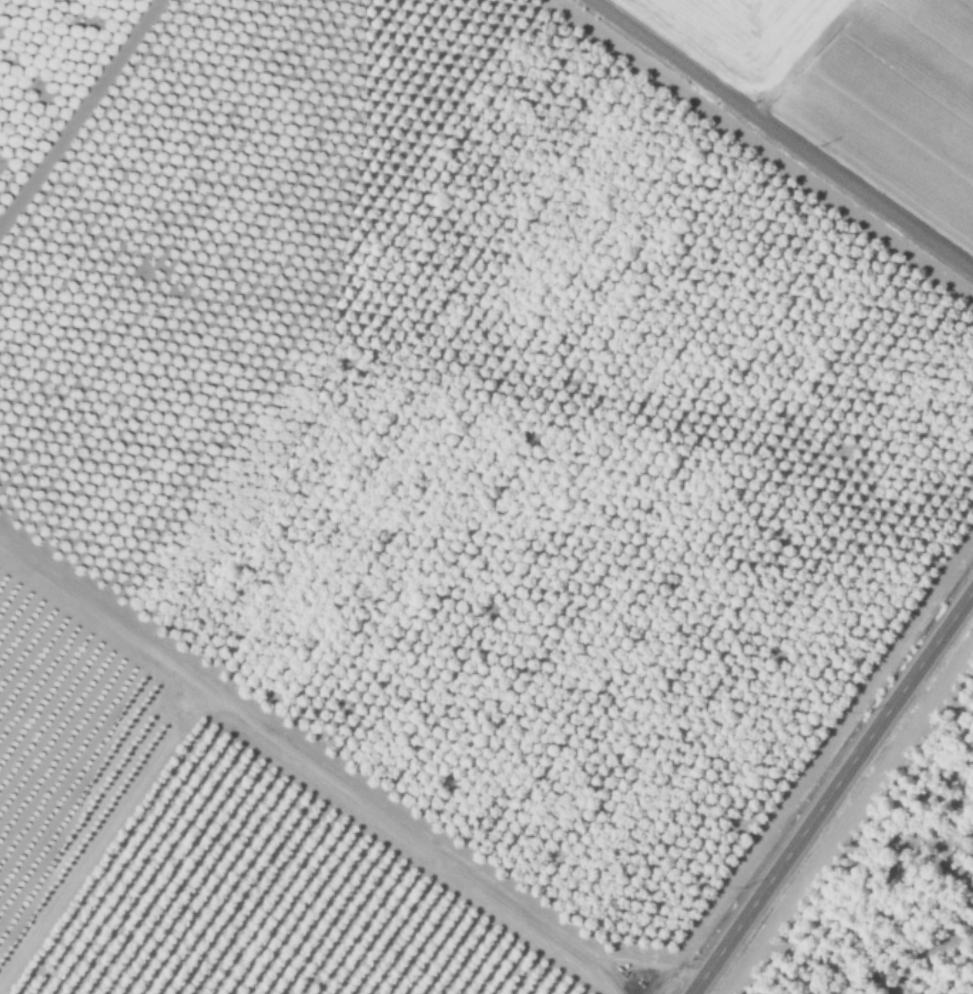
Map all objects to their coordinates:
road: (801, 57)
crop: (854, 82)
road: (780, 135)
road: (832, 791)

